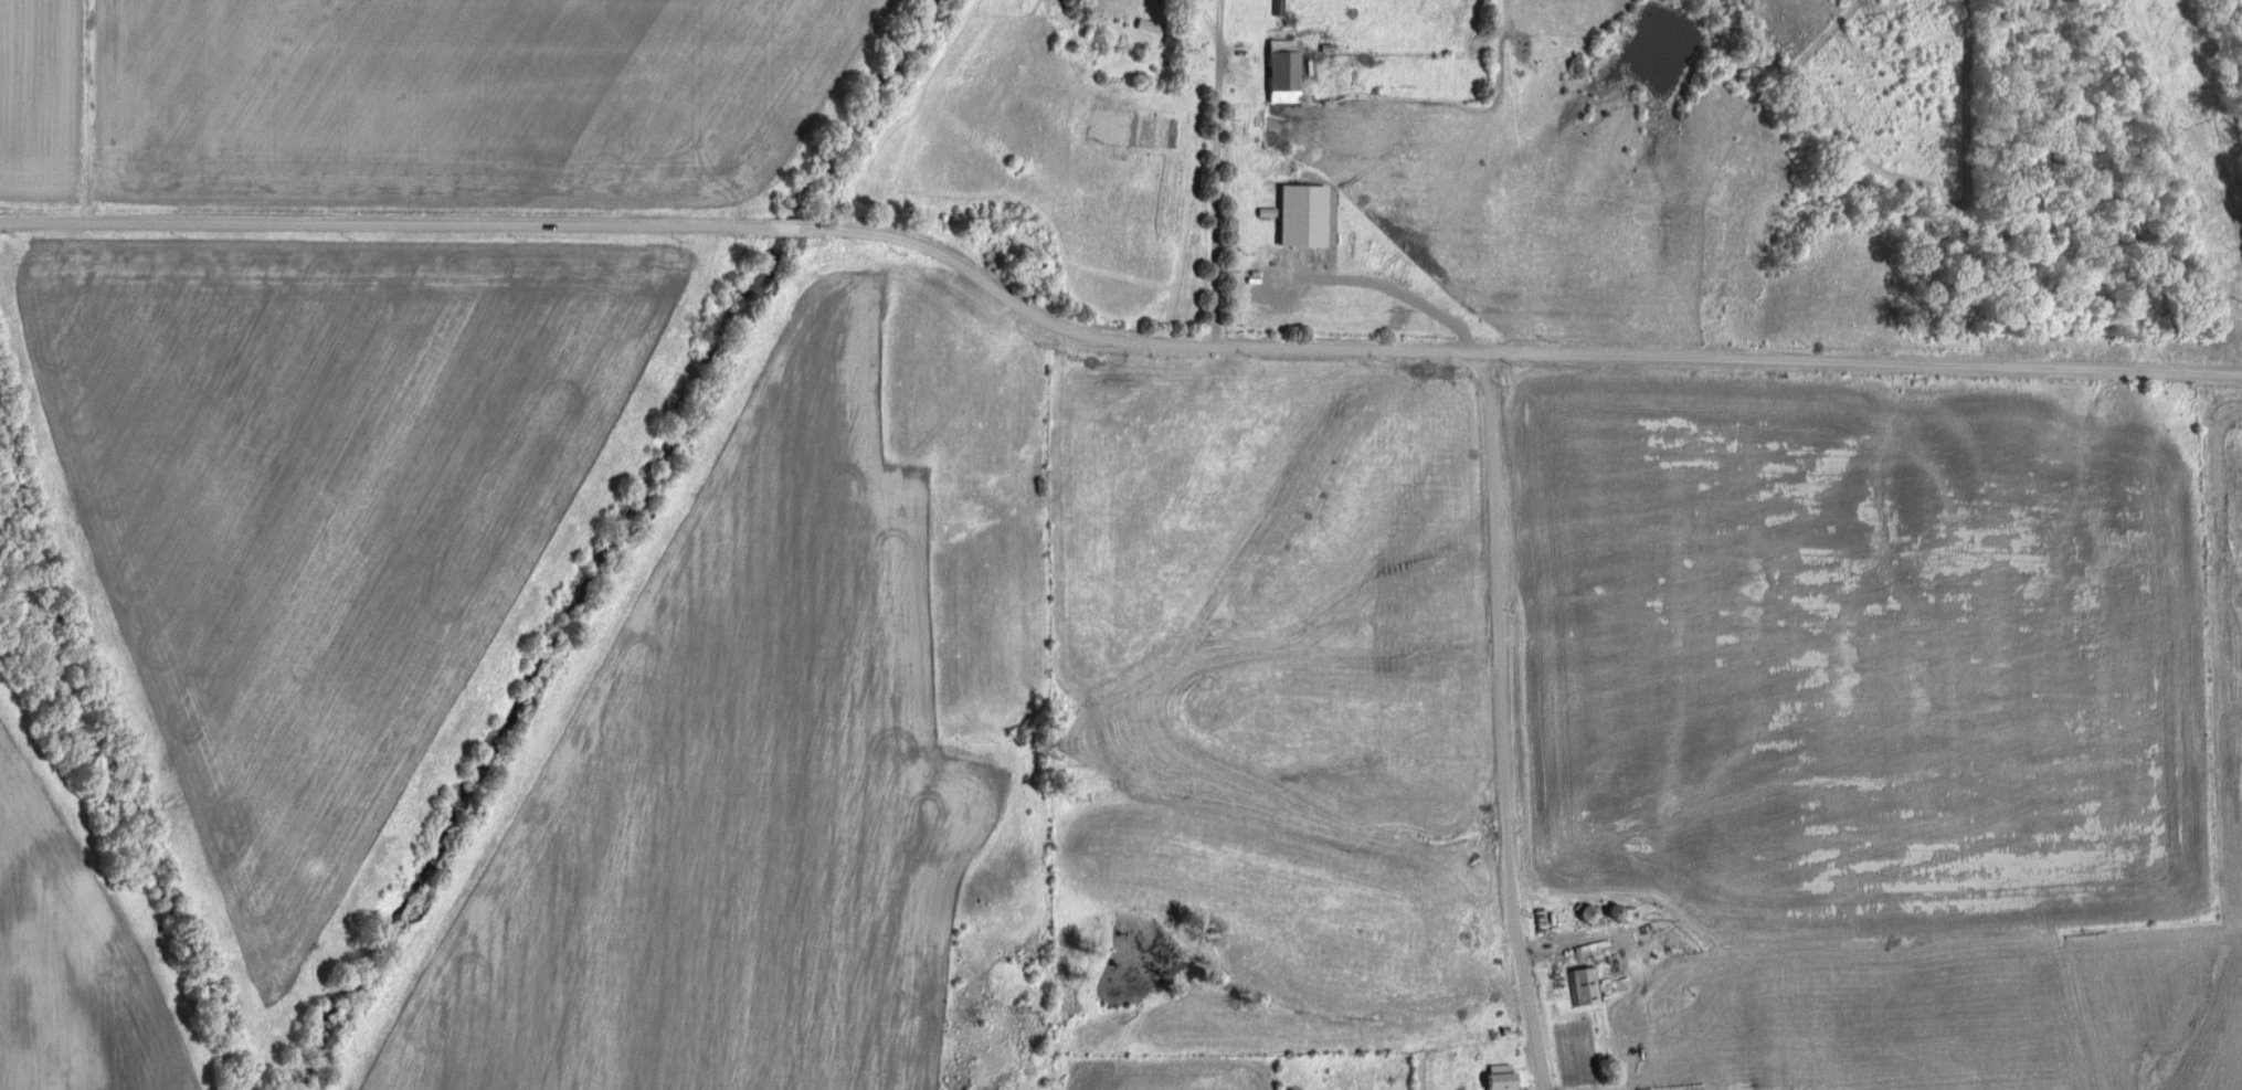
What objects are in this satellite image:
road: (1209, 17)
building: (1282, 70)
road: (1217, 166)
building: (1301, 214)
road: (1108, 329)
road: (1502, 718)
building: (1583, 984)
building: (1499, 1077)

